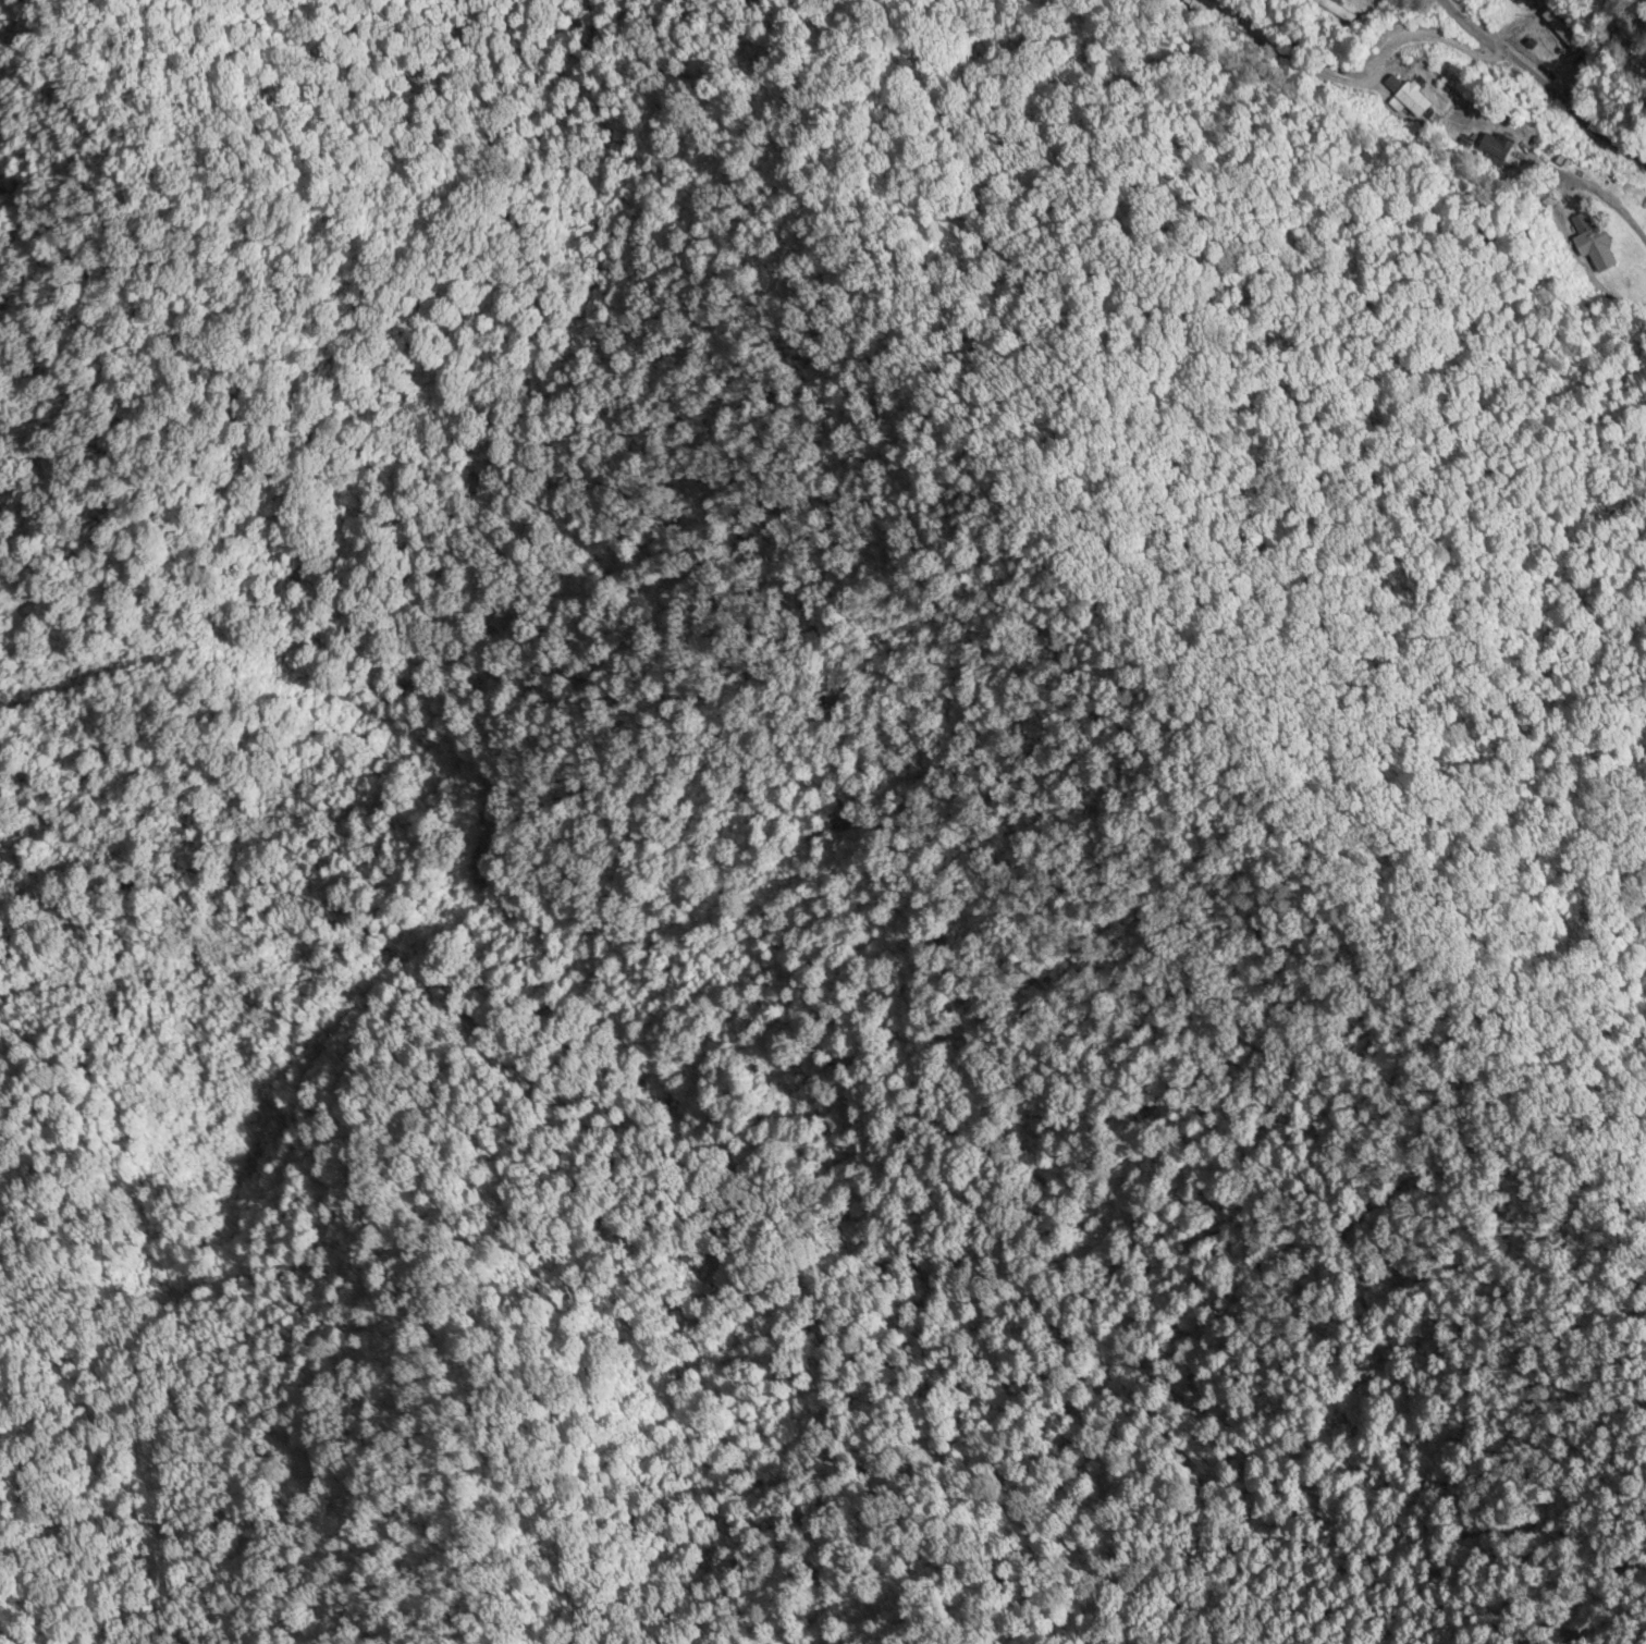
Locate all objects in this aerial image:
road: (1544, 87)
road: (97, 955)
building: (163, 1281)

